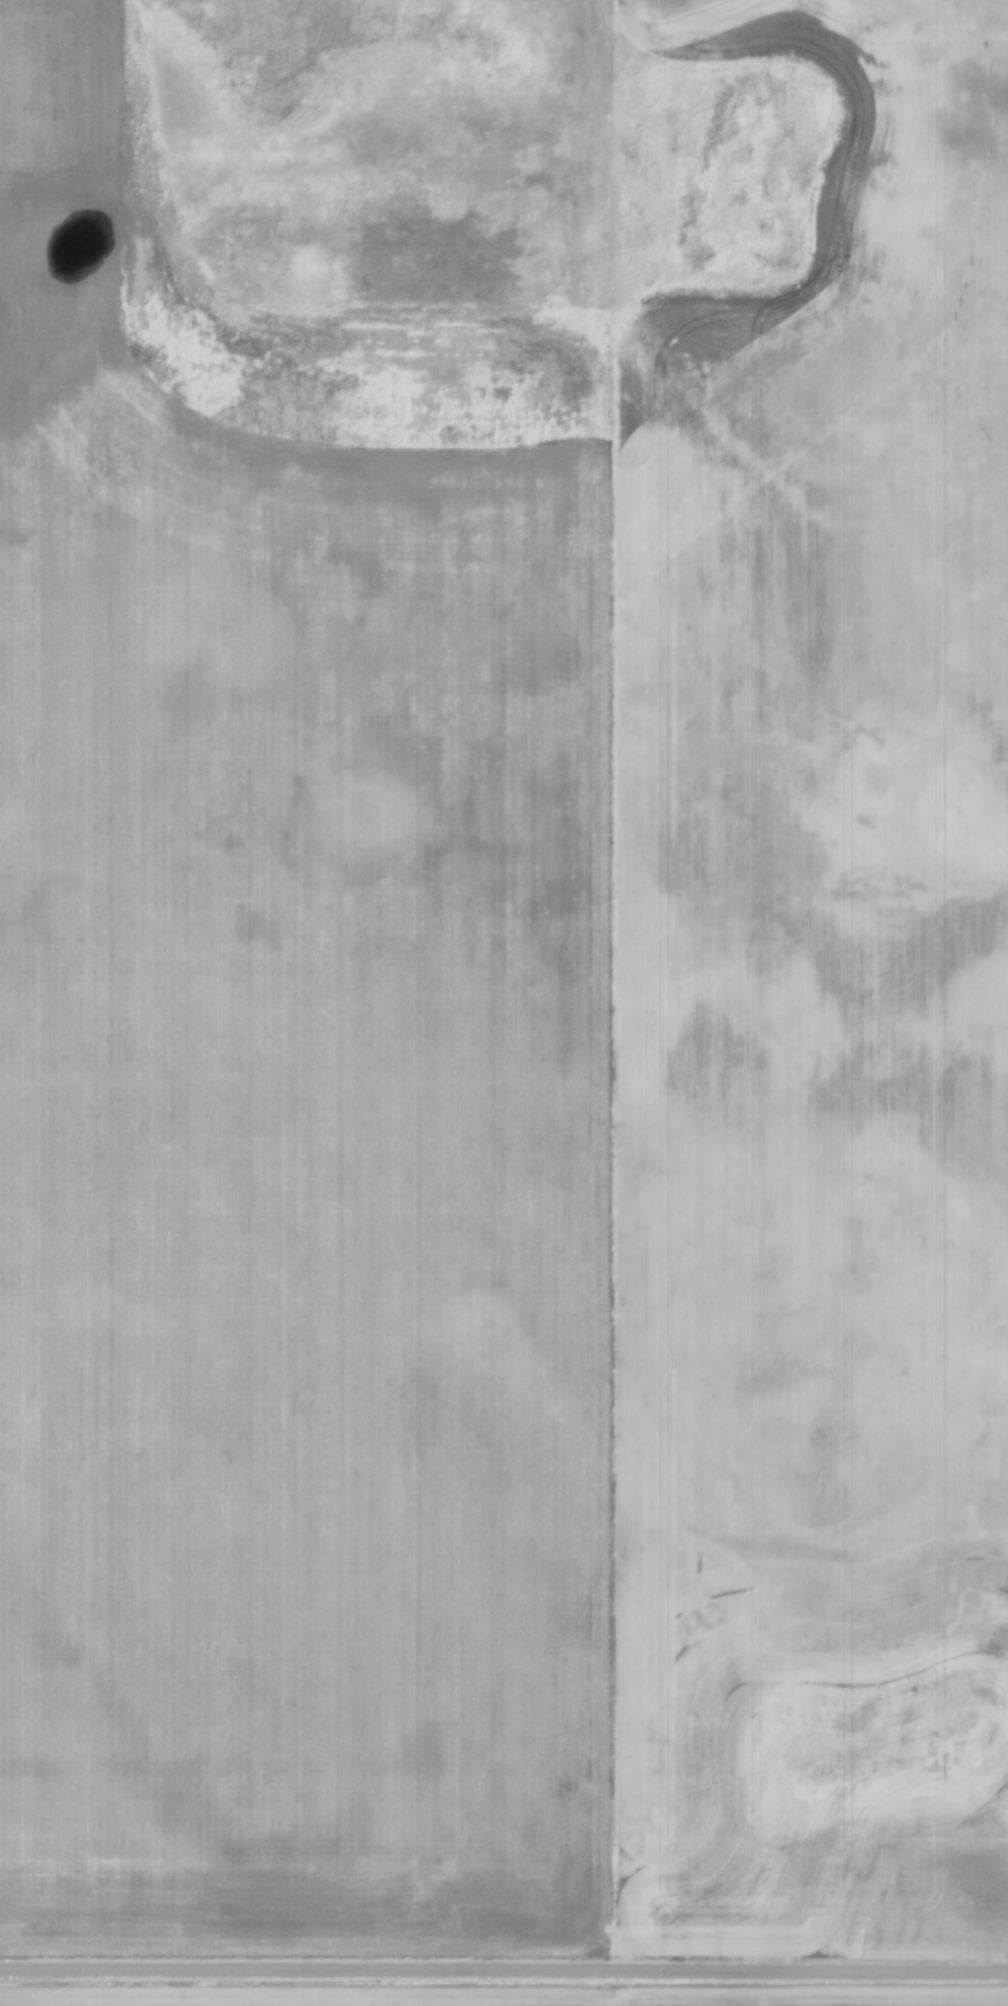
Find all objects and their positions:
road: (504, 1970)

